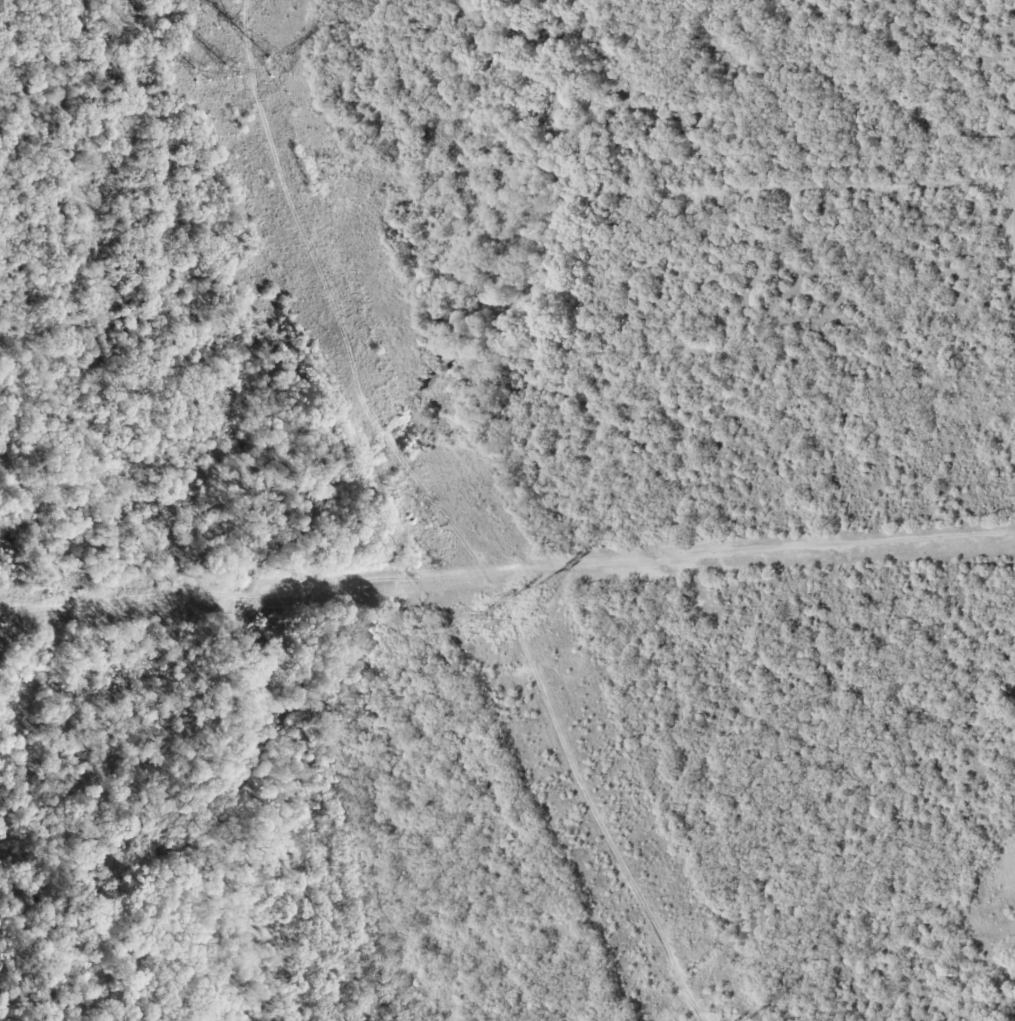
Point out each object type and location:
power tower: (276, 64)
power tower: (232, 71)
power tower: (201, 74)
road: (1011, 227)
road: (447, 519)
road: (507, 571)
power tower: (537, 598)
power tower: (497, 618)
power tower: (470, 632)

